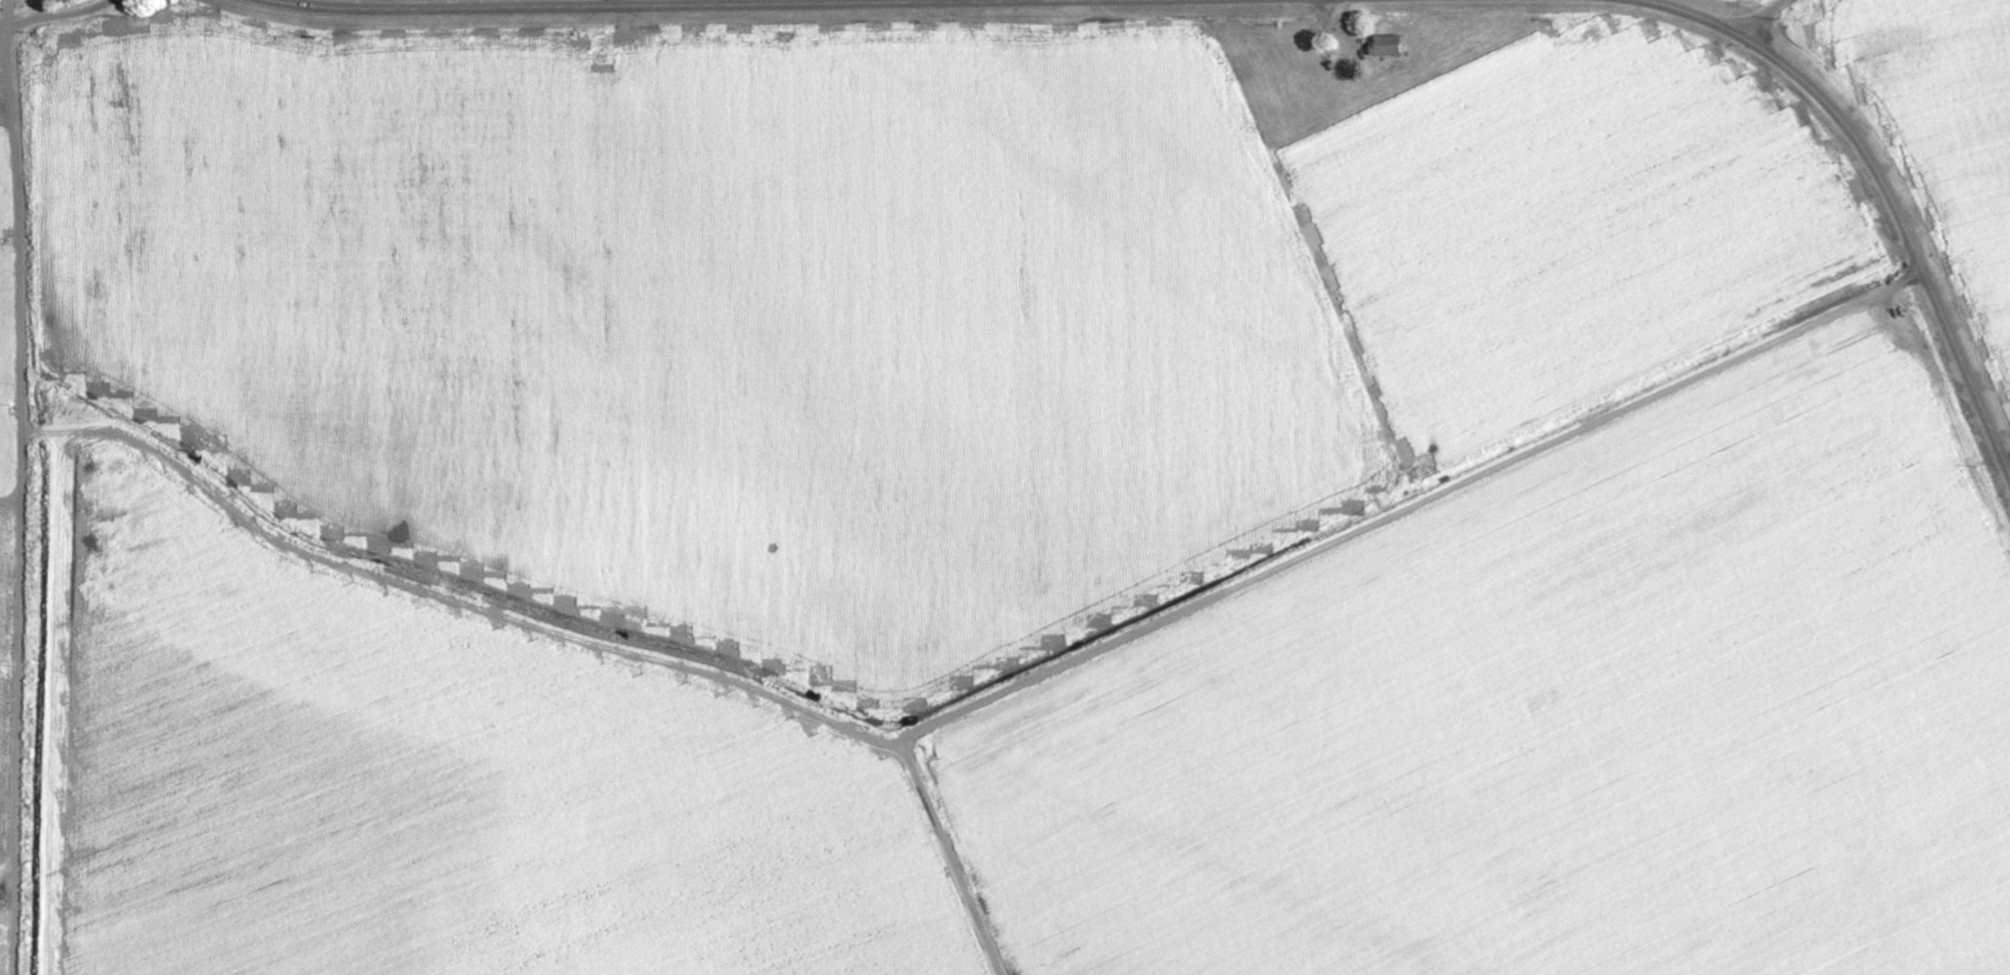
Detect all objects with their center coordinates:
road: (640, 8)
road: (61, 17)
road: (1774, 20)
building: (1384, 47)
building: (1270, 69)
building: (1323, 106)
road: (1886, 188)
road: (17, 487)
road: (982, 702)
road: (944, 859)

